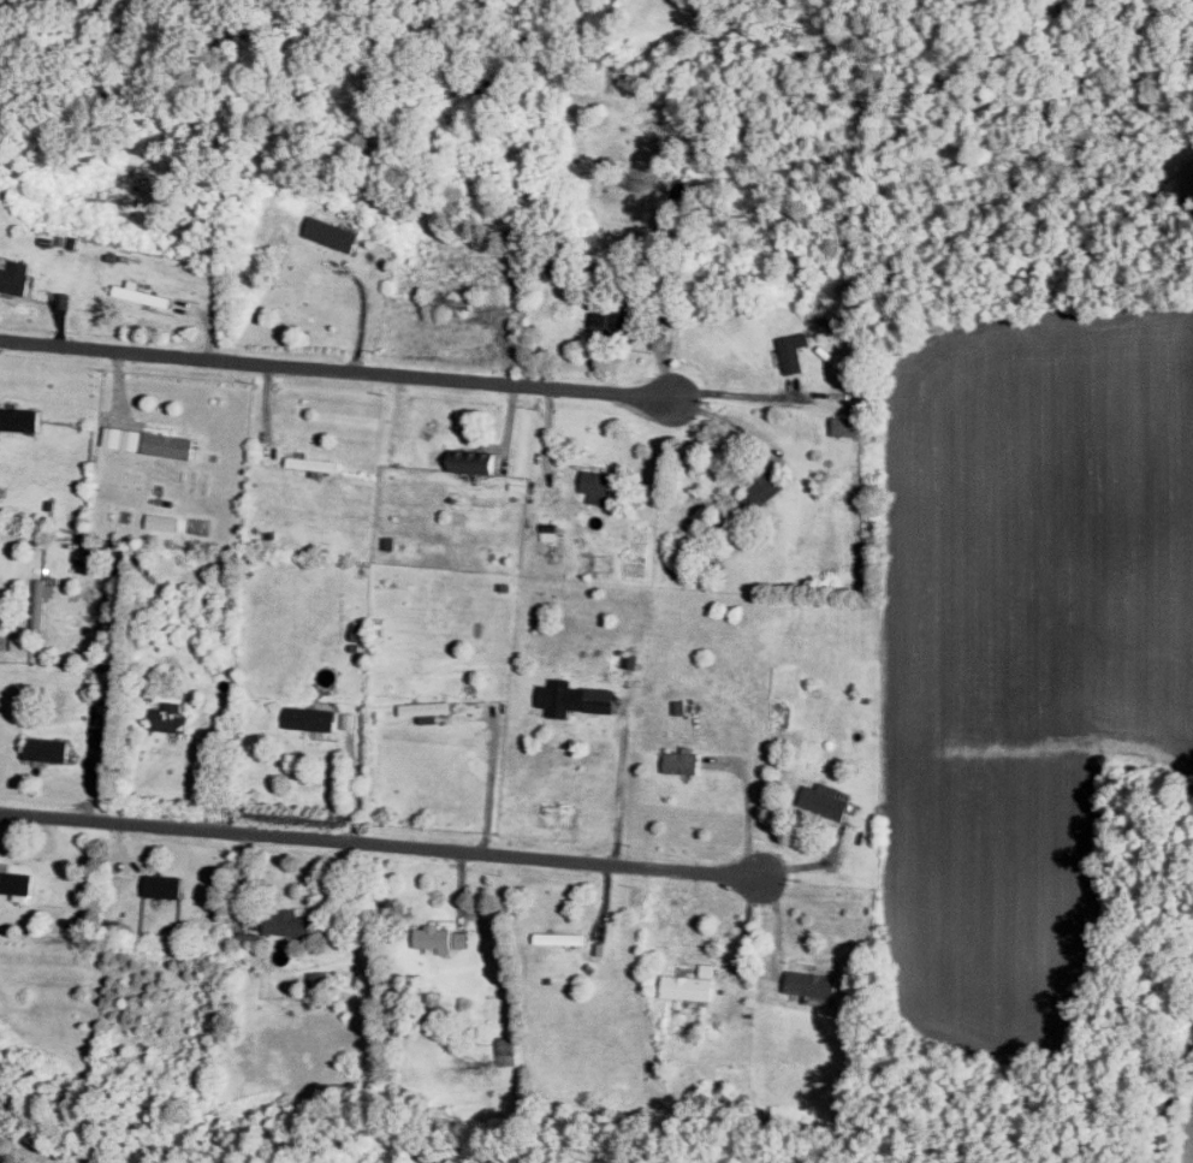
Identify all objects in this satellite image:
building: (333, 232)
road: (319, 268)
building: (17, 275)
building: (140, 292)
building: (601, 320)
building: (659, 339)
building: (794, 349)
road: (336, 370)
road: (732, 392)
building: (20, 417)
building: (847, 425)
building: (123, 435)
building: (170, 444)
building: (474, 459)
building: (315, 462)
building: (599, 483)
building: (767, 487)
building: (162, 521)
building: (550, 532)
building: (42, 600)
building: (357, 630)
building: (563, 695)
building: (428, 707)
building: (171, 716)
building: (311, 717)
building: (431, 717)
building: (48, 748)
building: (683, 760)
road: (494, 771)
road: (621, 783)
building: (826, 799)
road: (380, 844)
building: (17, 880)
building: (165, 884)
building: (289, 921)
building: (441, 937)
building: (562, 937)
building: (692, 983)
building: (813, 983)
building: (505, 1049)

